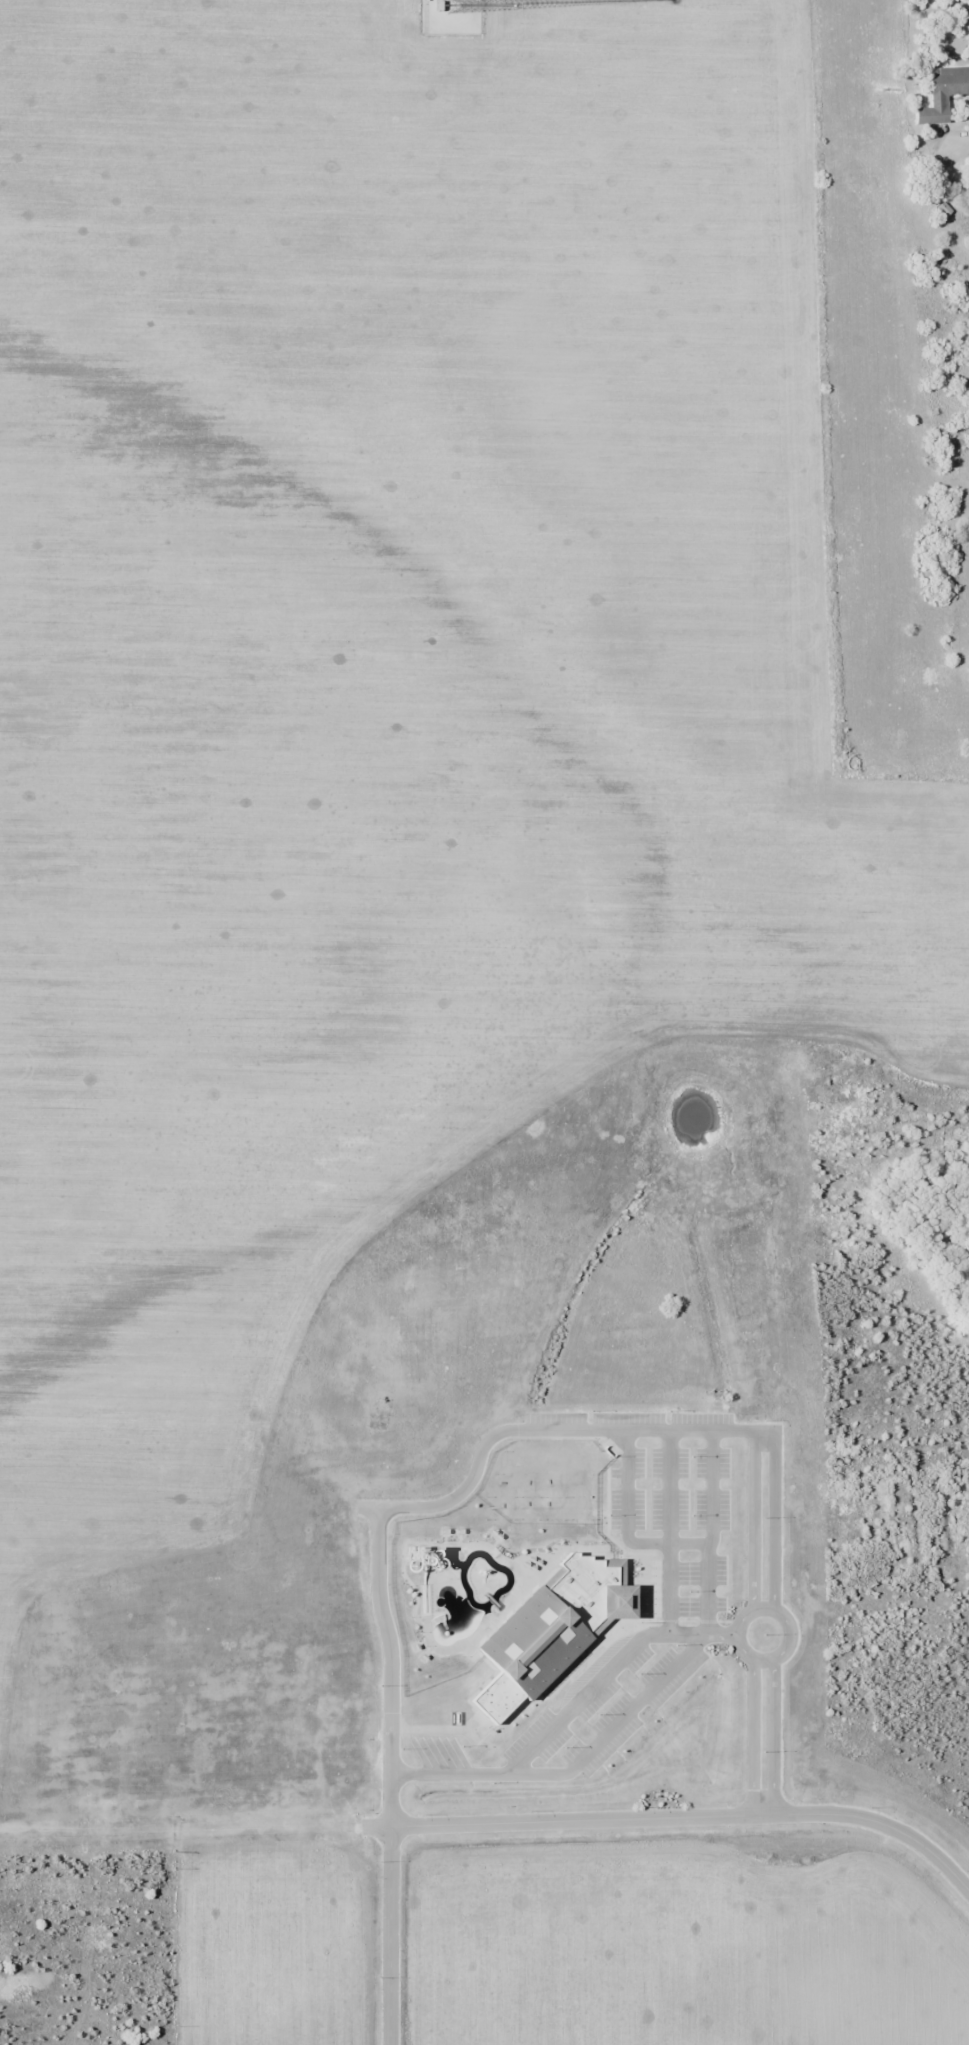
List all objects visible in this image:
building: (942, 95)
road: (436, 1507)
road: (753, 1522)
road: (774, 1522)
road: (628, 1527)
road: (670, 1533)
road: (710, 1533)
theme park: (491, 1554)
parking lot: (694, 1588)
road: (773, 1611)
building: (557, 1630)
road: (703, 1635)
road: (584, 1697)
road: (615, 1725)
road: (754, 1737)
road: (773, 1737)
road: (448, 1774)
road: (692, 1816)
road: (390, 1935)

